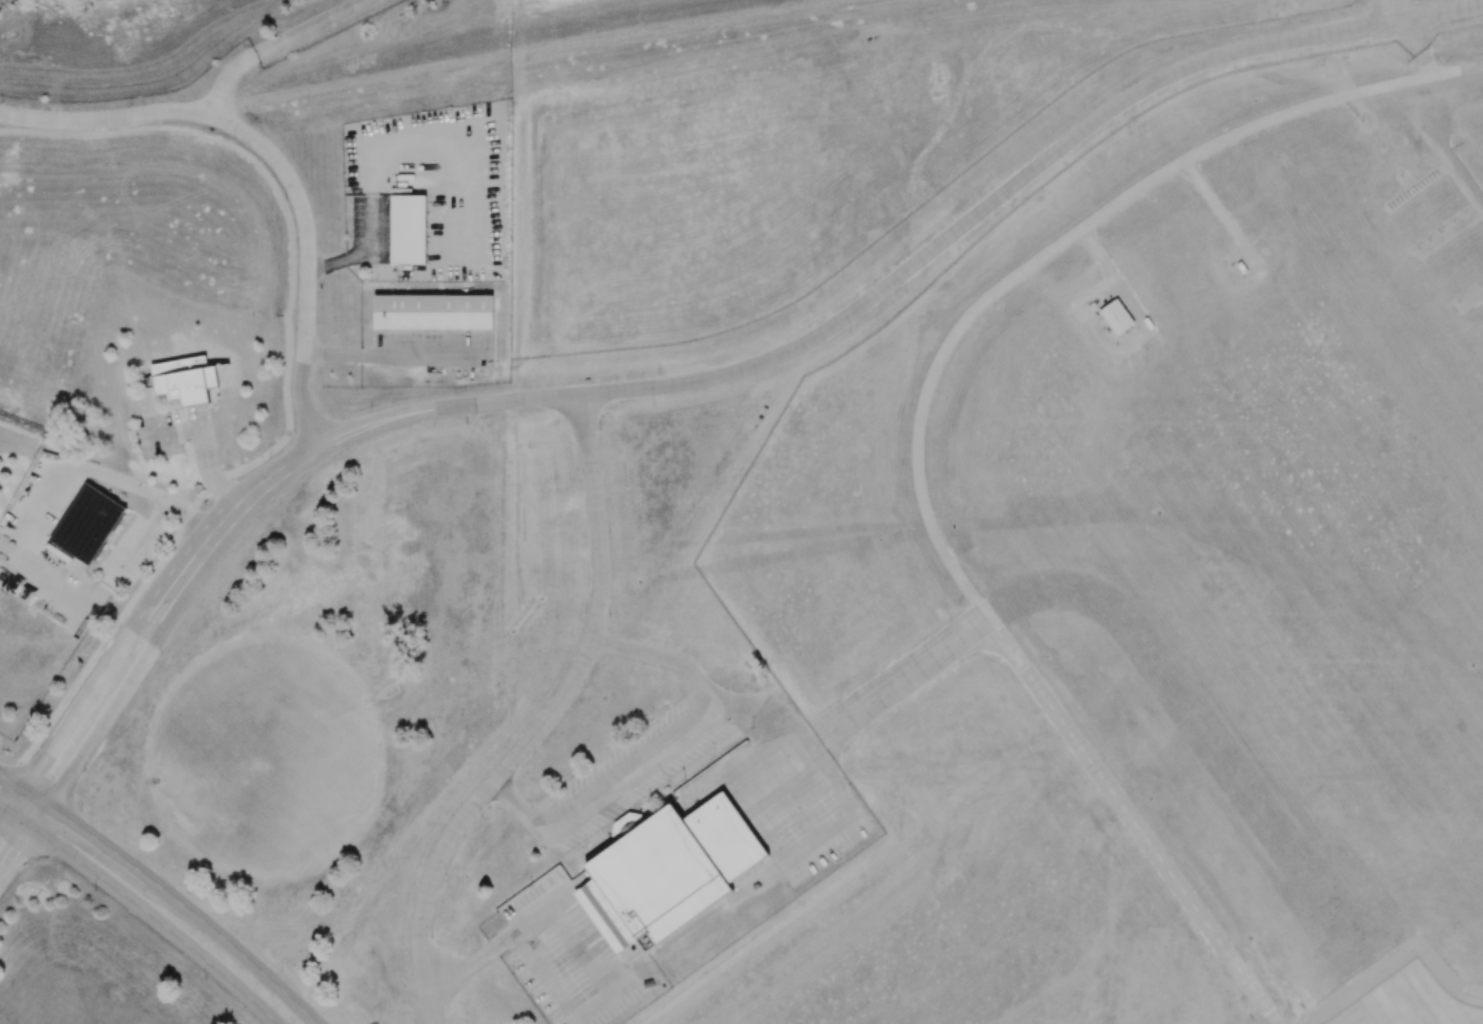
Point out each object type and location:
road: (1272, 0)
road: (1387, 11)
road: (276, 43)
road: (1418, 47)
road: (971, 60)
road: (1346, 91)
road: (105, 120)
road: (1436, 146)
road: (1218, 211)
building: (408, 229)
road: (1095, 253)
road: (307, 261)
road: (917, 261)
building: (1240, 266)
building: (432, 311)
building: (1116, 317)
road: (387, 355)
road: (286, 375)
building: (184, 379)
flagpole: (182, 415)
railway: (38, 426)
road: (918, 428)
road: (170, 433)
road: (205, 456)
road: (35, 514)
building: (87, 523)
road: (193, 523)
road: (140, 541)
road: (189, 546)
airport: (1018, 596)
road: (173, 616)
road: (663, 660)
road: (895, 682)
road: (773, 713)
road: (545, 722)
road: (59, 740)
road: (744, 765)
parking lot: (626, 776)
road: (10, 778)
road: (12, 784)
road: (794, 800)
road: (36, 801)
parking lot: (793, 802)
road: (17, 804)
street lamp: (81, 810)
road: (5, 811)
road: (40, 820)
road: (5, 822)
road: (21, 823)
road: (101, 846)
road: (16, 856)
building: (667, 871)
street lamp: (94, 890)
street lamp: (188, 893)
road: (159, 922)
road: (577, 946)
road: (238, 949)
parking lot: (563, 954)
street lamp: (281, 971)
street lamp: (204, 978)
road: (285, 1012)

